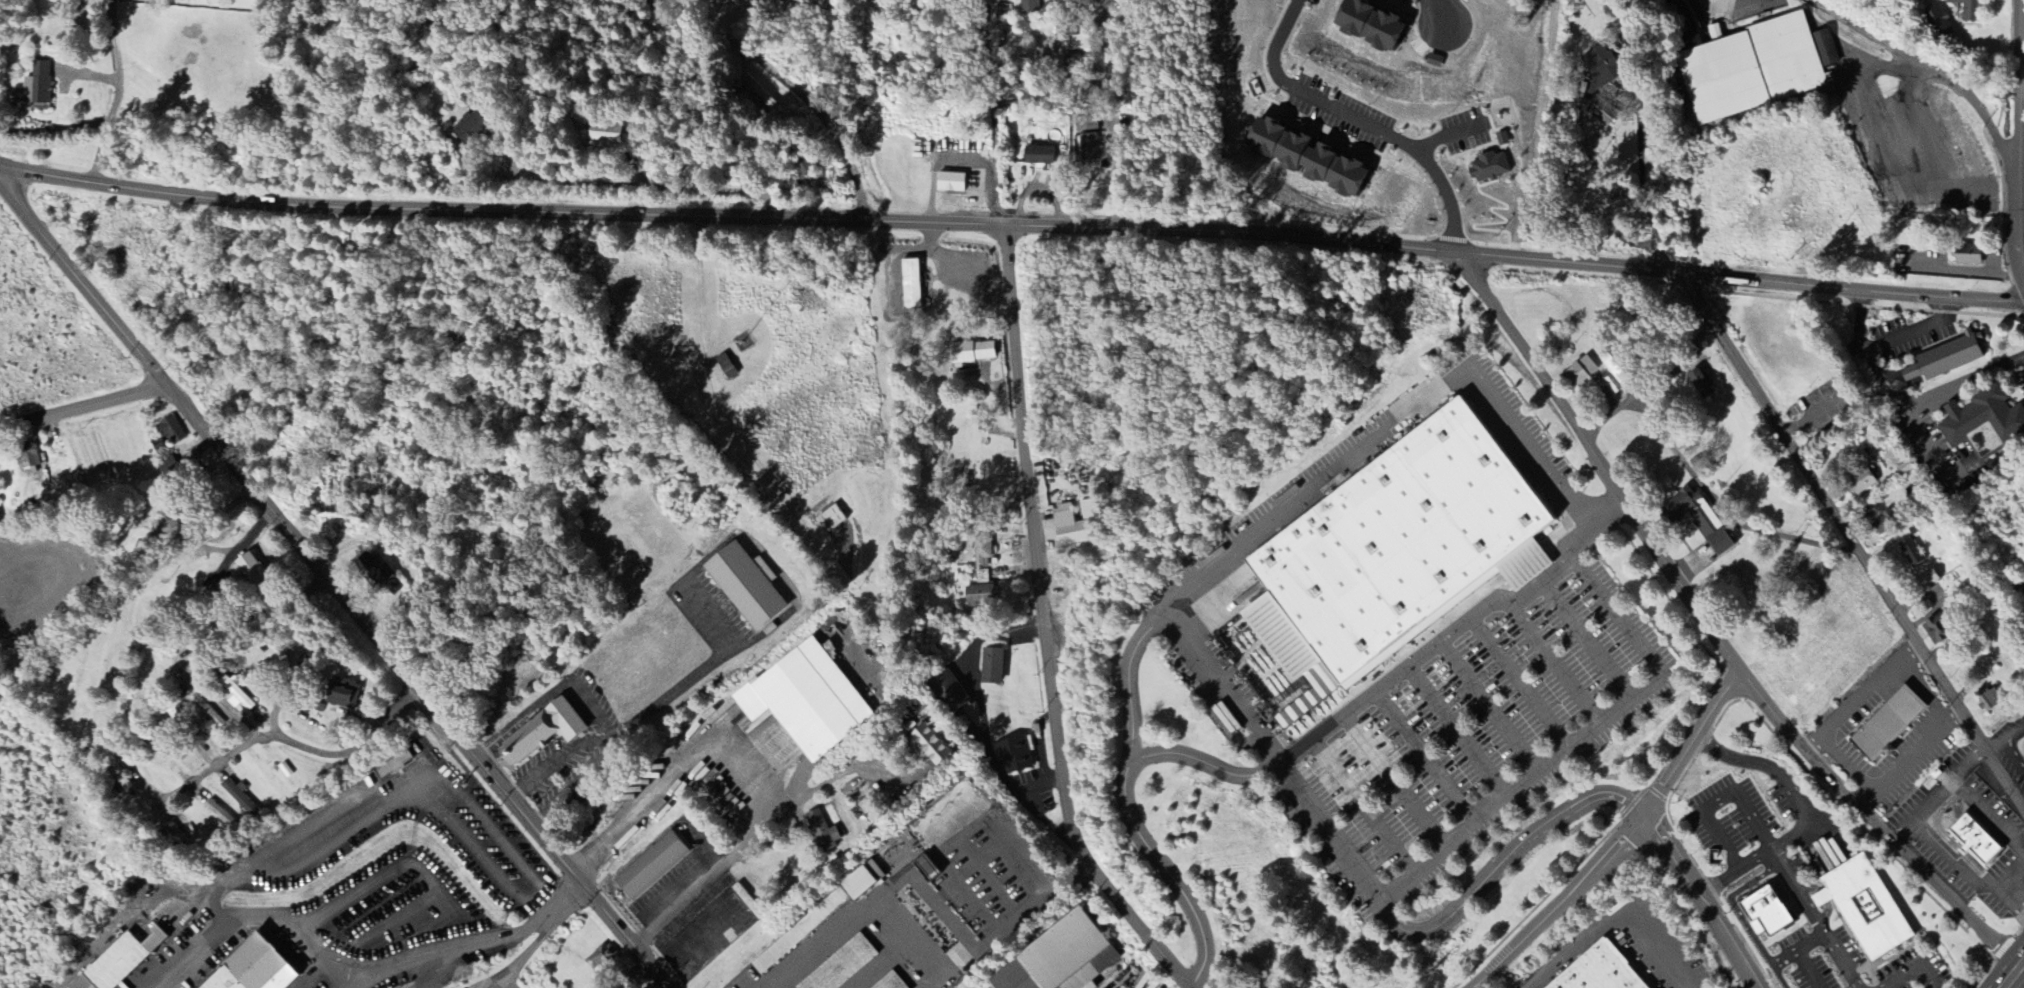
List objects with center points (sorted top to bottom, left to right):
building: (1028, 6)
building: (1968, 10)
road: (1425, 16)
building: (1936, 22)
building: (1366, 25)
road: (1904, 52)
building: (1602, 65)
road: (783, 82)
building: (36, 85)
road: (117, 93)
road: (993, 112)
building: (1600, 113)
road: (1112, 114)
road: (1341, 124)
building: (469, 129)
building: (607, 135)
road: (2019, 138)
building: (1087, 139)
road: (2002, 146)
building: (1037, 156)
building: (1303, 158)
building: (1487, 168)
building: (949, 183)
road: (652, 189)
road: (1637, 191)
road: (1012, 225)
building: (1967, 255)
road: (1147, 262)
building: (910, 284)
road: (1884, 342)
building: (971, 353)
building: (1944, 359)
building: (1614, 371)
building: (1579, 373)
building: (1700, 384)
road: (1934, 399)
road: (84, 409)
building: (1982, 423)
road: (1390, 427)
building: (169, 430)
building: (26, 458)
building: (1861, 482)
building: (1698, 519)
building: (829, 520)
building: (1073, 524)
building: (1884, 524)
road: (1588, 526)
road: (228, 536)
building: (1397, 536)
road: (1848, 541)
building: (982, 553)
building: (1910, 553)
road: (1524, 562)
building: (373, 567)
building: (249, 569)
building: (1926, 581)
road: (330, 584)
road: (1540, 584)
building: (744, 585)
building: (978, 596)
road: (1043, 627)
building: (1937, 629)
road: (1713, 631)
road: (202, 637)
road: (1588, 641)
road: (1550, 658)
building: (991, 666)
road: (693, 675)
road: (1394, 675)
road: (1523, 684)
road: (1220, 685)
road: (1925, 692)
building: (339, 693)
building: (948, 693)
road: (1128, 695)
building: (234, 696)
road: (1860, 696)
building: (805, 700)
road: (1493, 706)
road: (591, 713)
road: (519, 715)
building: (1886, 723)
road: (327, 725)
building: (540, 732)
road: (1459, 733)
parking lot: (1477, 734)
road: (594, 739)
road: (1584, 739)
road: (281, 742)
building: (927, 746)
building: (1013, 755)
road: (1427, 757)
building: (390, 764)
road: (543, 766)
road: (674, 774)
road: (1889, 780)
road: (1396, 781)
road: (575, 787)
road: (381, 792)
building: (237, 796)
road: (1865, 799)
road: (1364, 806)
road: (1135, 809)
building: (218, 813)
traffic signals: (1644, 818)
building: (821, 832)
road: (1328, 837)
road: (758, 838)
building: (1973, 840)
road: (1783, 841)
road: (1623, 843)
road: (316, 849)
road: (1511, 852)
building: (650, 867)
road: (1737, 869)
road: (420, 876)
road: (1704, 901)
building: (1864, 906)
building: (1765, 913)
building: (816, 919)
road: (264, 921)
road: (1611, 927)
road: (482, 945)
building: (120, 958)
building: (599, 958)
building: (1059, 958)
building: (254, 963)
building: (841, 965)
building: (1601, 971)
road: (1907, 972)
road: (2013, 973)
road: (356, 978)
building: (219, 980)
building: (79, 982)
building: (890, 982)

